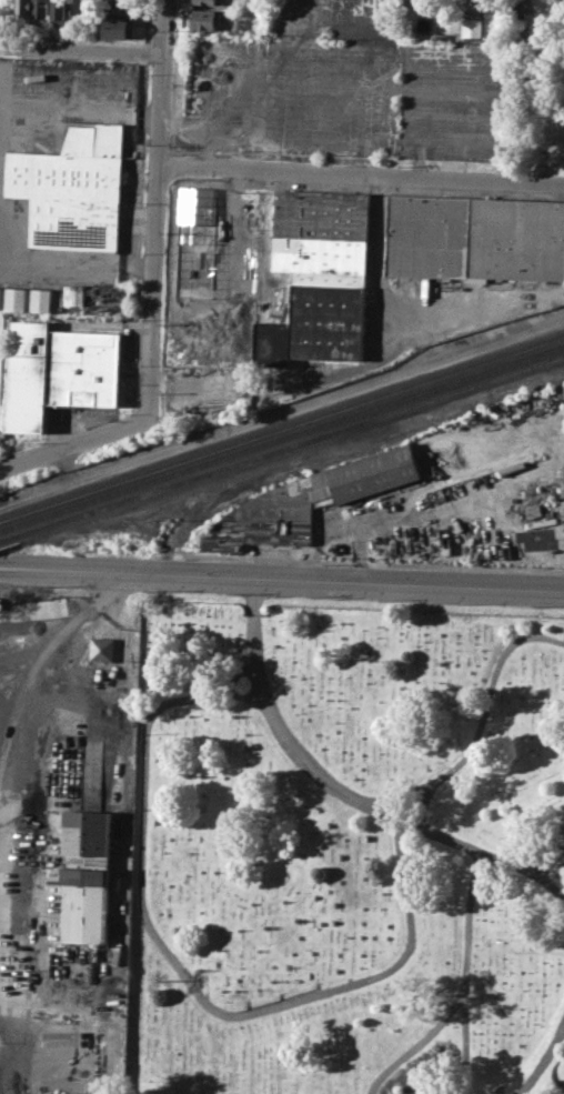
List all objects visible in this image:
building: (210, 2)
building: (119, 6)
building: (40, 8)
building: (22, 9)
building: (60, 11)
building: (512, 12)
building: (205, 19)
building: (120, 26)
building: (473, 27)
road: (82, 49)
parking lot: (346, 87)
road: (362, 174)
building: (73, 187)
building: (476, 238)
road: (78, 265)
building: (320, 275)
road: (157, 285)
building: (29, 298)
building: (1, 370)
building: (60, 373)
railway: (282, 426)
railway: (281, 436)
railway: (281, 448)
building: (376, 472)
road: (373, 562)
road: (281, 576)
building: (103, 649)
road: (41, 663)
road: (326, 779)
park: (346, 847)
road: (547, 860)
building: (87, 875)
road: (550, 883)
road: (463, 971)
road: (299, 1002)
road: (419, 1042)
road: (543, 1061)

